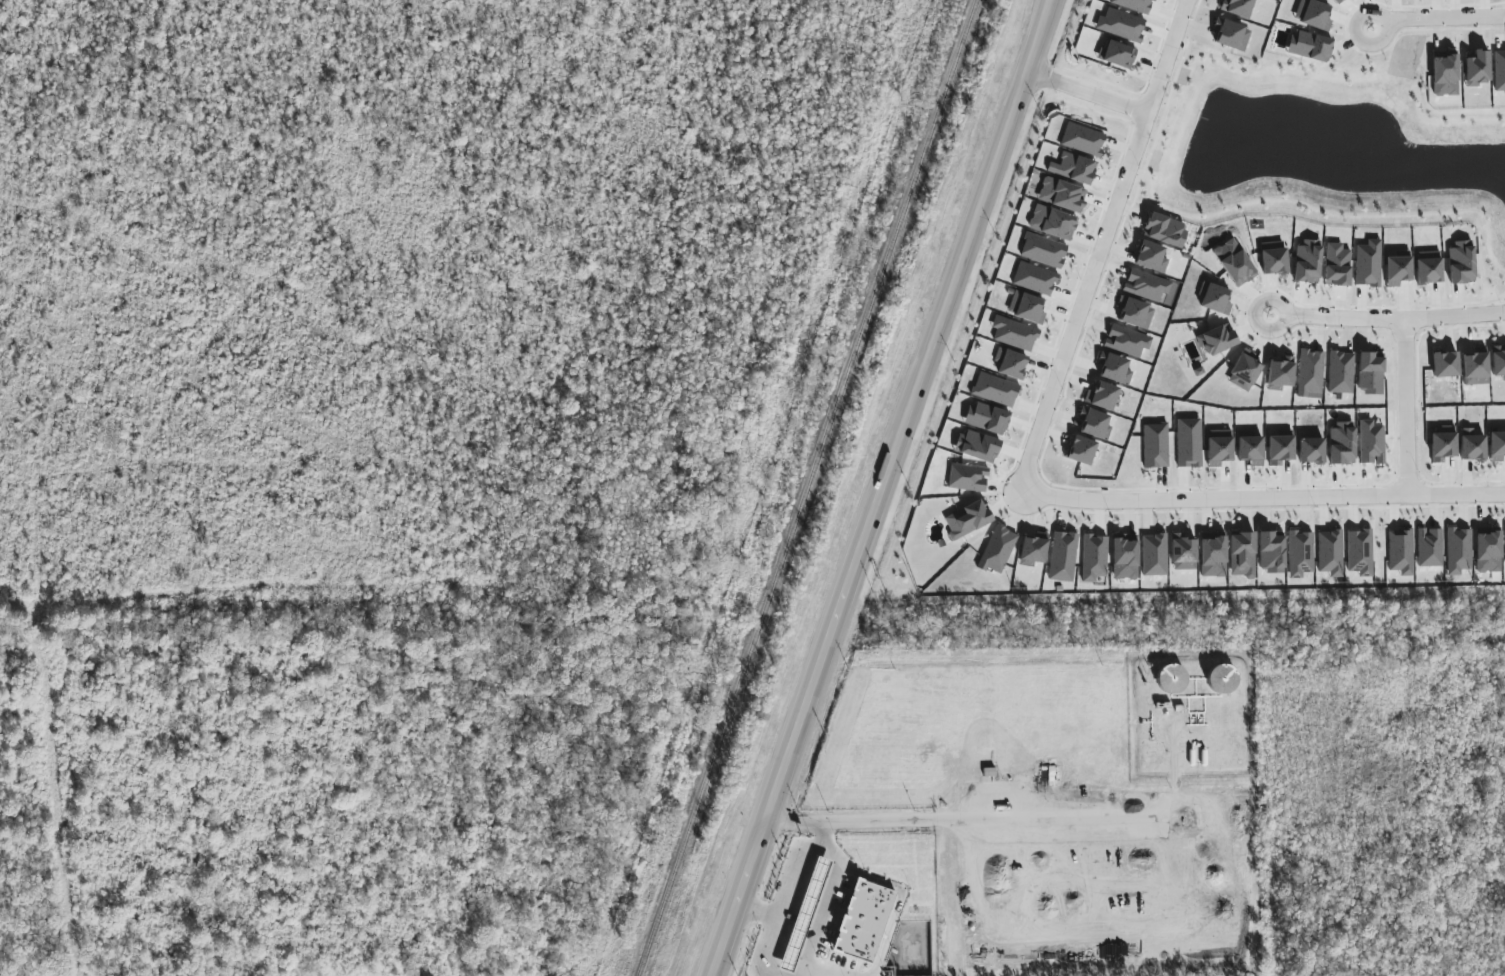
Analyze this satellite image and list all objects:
building: (1337, 1)
building: (1134, 5)
building: (1237, 7)
building: (1313, 14)
road: (1431, 14)
building: (1120, 25)
building: (1231, 35)
building: (1309, 46)
building: (1477, 69)
building: (1445, 73)
road: (1089, 94)
building: (1083, 139)
building: (1073, 168)
building: (1062, 195)
building: (1052, 223)
building: (1165, 230)
road: (1103, 242)
building: (1043, 251)
building: (1150, 257)
building: (1273, 258)
building: (1307, 262)
building: (1461, 262)
building: (1234, 263)
building: (1368, 264)
building: (1337, 265)
building: (1397, 268)
building: (1428, 268)
building: (1034, 279)
building: (1146, 286)
building: (1214, 298)
building: (1026, 308)
building: (1134, 313)
road: (1390, 320)
building: (1014, 334)
building: (1216, 340)
building: (1127, 341)
building: (1498, 361)
building: (1011, 364)
building: (1445, 364)
building: (1475, 367)
building: (1114, 368)
building: (1243, 371)
building: (1340, 372)
building: (1369, 373)
building: (1310, 374)
building: (995, 390)
building: (1102, 396)
road: (1408, 408)
building: (986, 418)
building: (1094, 424)
building: (1371, 442)
building: (1189, 443)
building: (1341, 443)
building: (1443, 444)
building: (1155, 445)
building: (977, 446)
building: (1472, 446)
building: (1497, 446)
building: (1219, 447)
building: (1250, 448)
building: (1280, 449)
building: (1311, 450)
building: (1081, 451)
building: (968, 478)
railway: (807, 487)
road: (889, 488)
road: (1265, 498)
building: (967, 519)
building: (997, 550)
building: (1458, 550)
building: (1488, 550)
building: (1183, 552)
building: (1360, 552)
building: (1271, 553)
building: (1300, 553)
building: (1330, 553)
building: (1242, 554)
building: (1154, 555)
building: (1212, 555)
building: (1063, 556)
building: (1125, 557)
building: (1094, 558)
road: (976, 631)
building: (1171, 679)
building: (1222, 679)
road: (990, 817)
road: (854, 820)
road: (797, 876)
building: (813, 887)
road: (761, 912)
building: (863, 921)
road: (764, 960)

